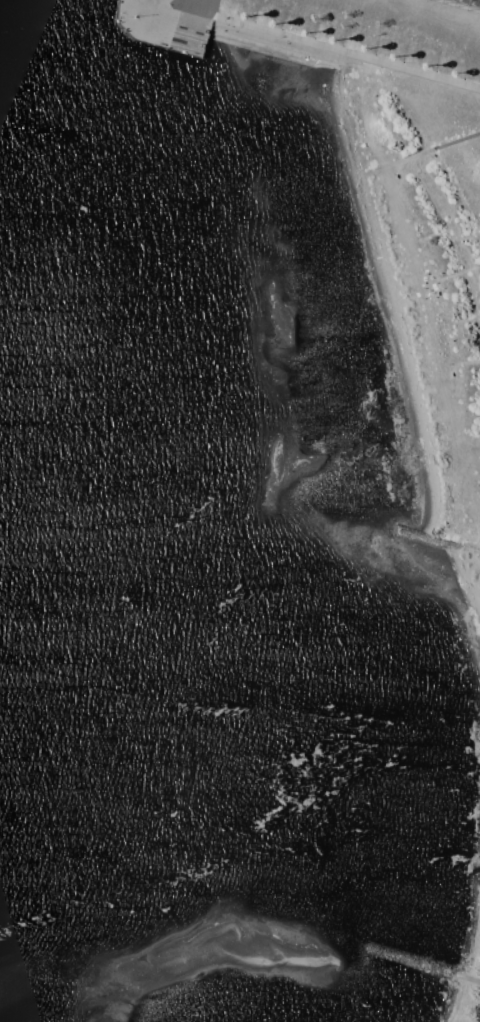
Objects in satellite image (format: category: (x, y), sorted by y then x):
road: (472, 2)
road: (157, 7)
road: (161, 18)
flagpole: (135, 19)
road: (347, 57)
road: (454, 143)
park: (393, 196)
road: (449, 544)
park: (478, 846)
park: (450, 968)

